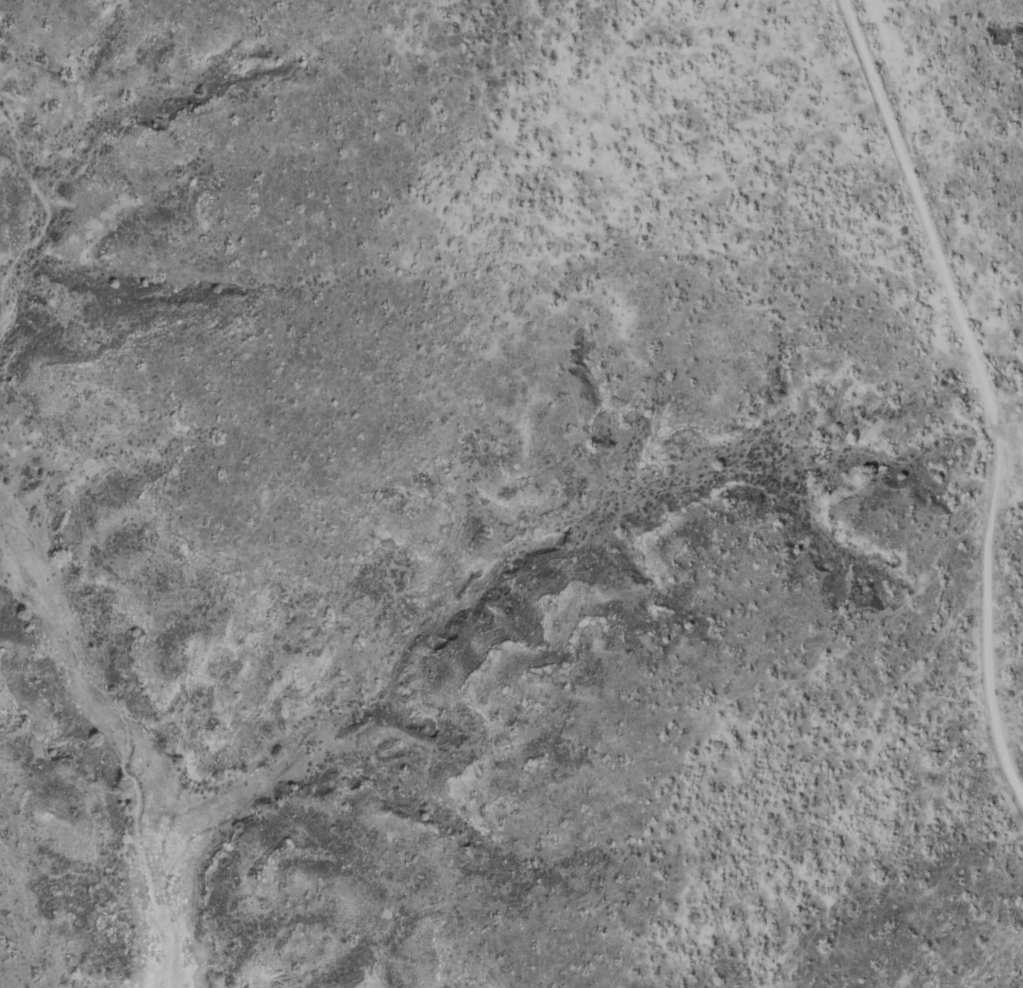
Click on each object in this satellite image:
road: (985, 394)

